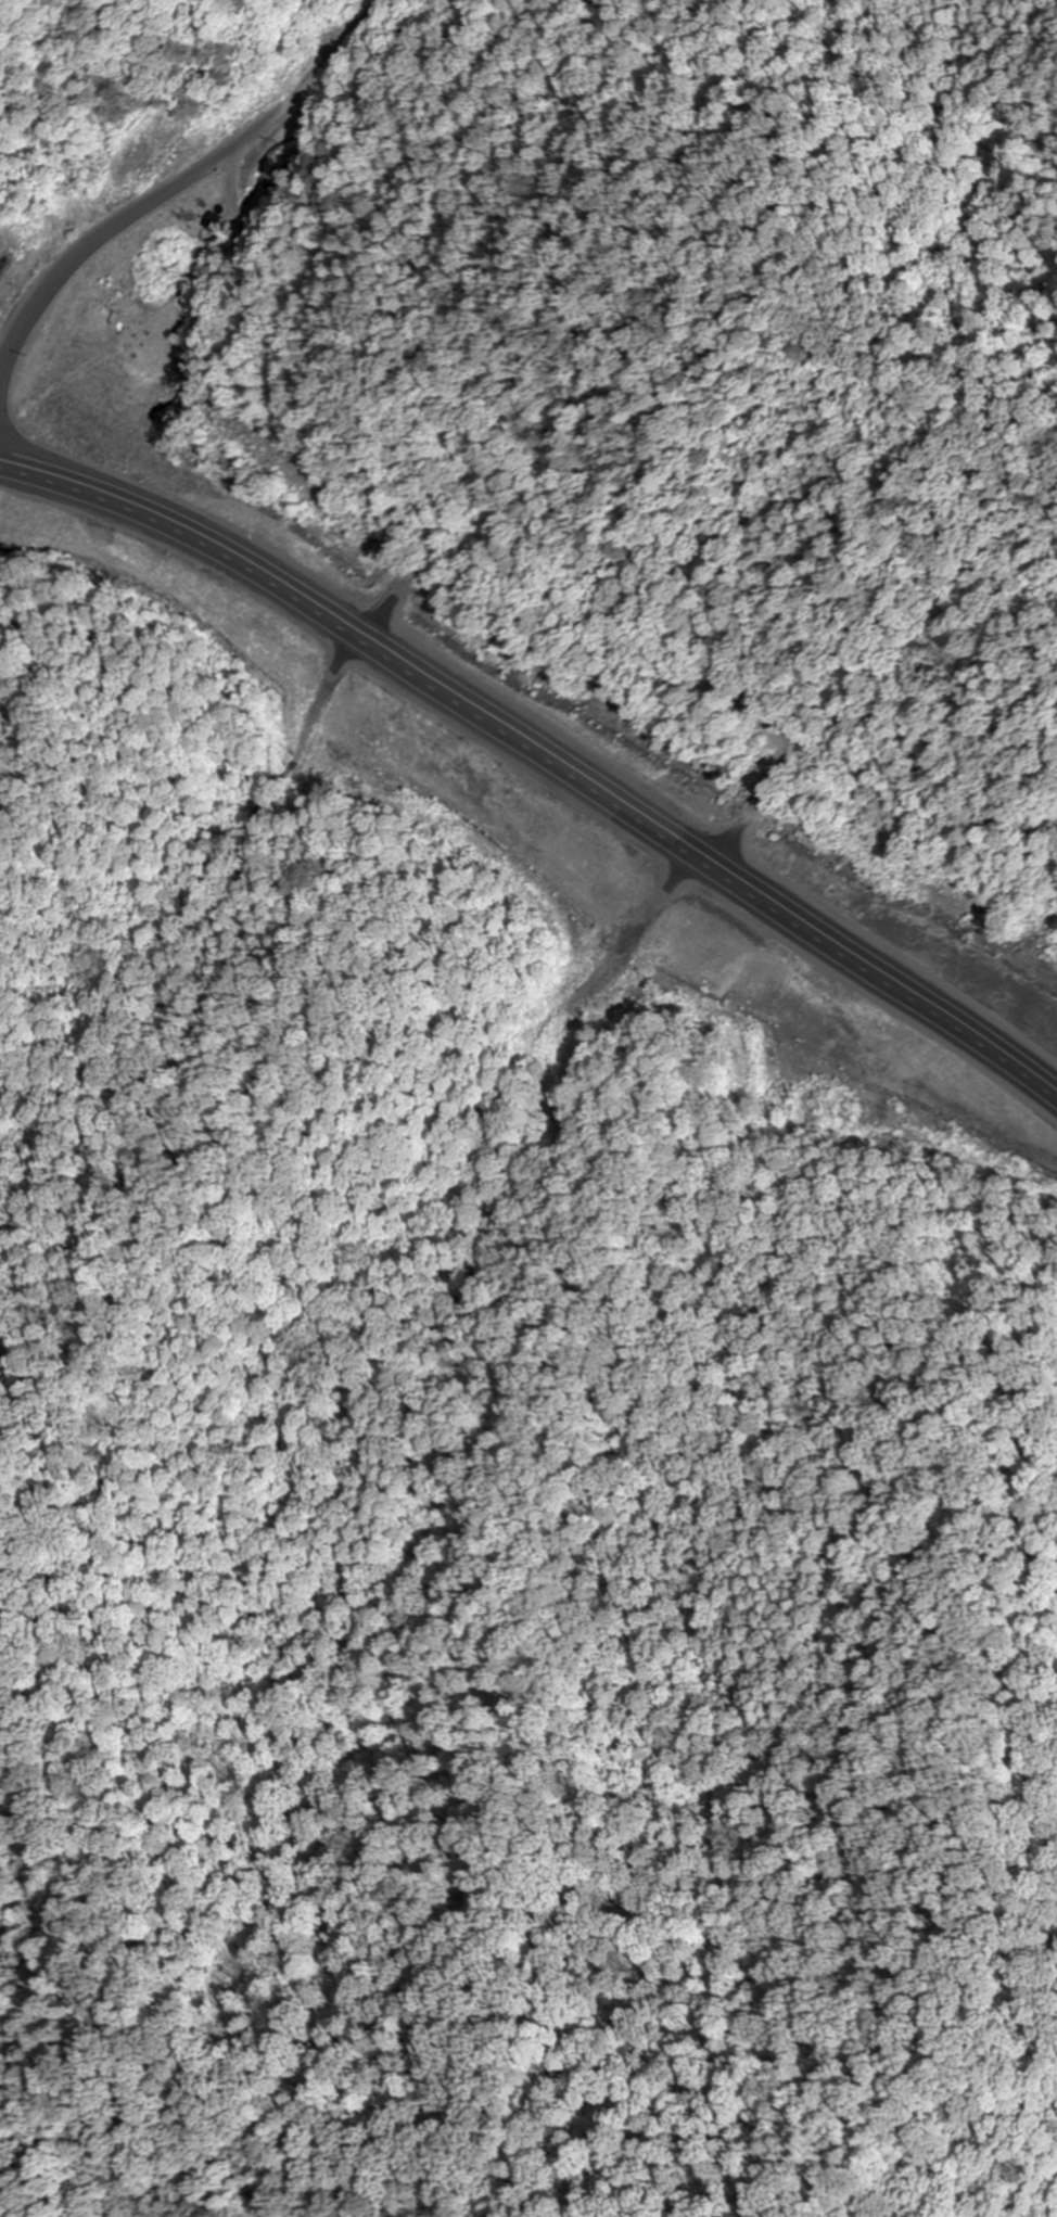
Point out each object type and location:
building: (175, 442)
building: (93, 473)
building: (111, 506)
building: (157, 509)
building: (69, 524)
building: (133, 526)
building: (166, 531)
building: (542, 710)
road: (544, 743)
building: (688, 779)
building: (621, 883)
building: (831, 894)
building: (853, 1015)

